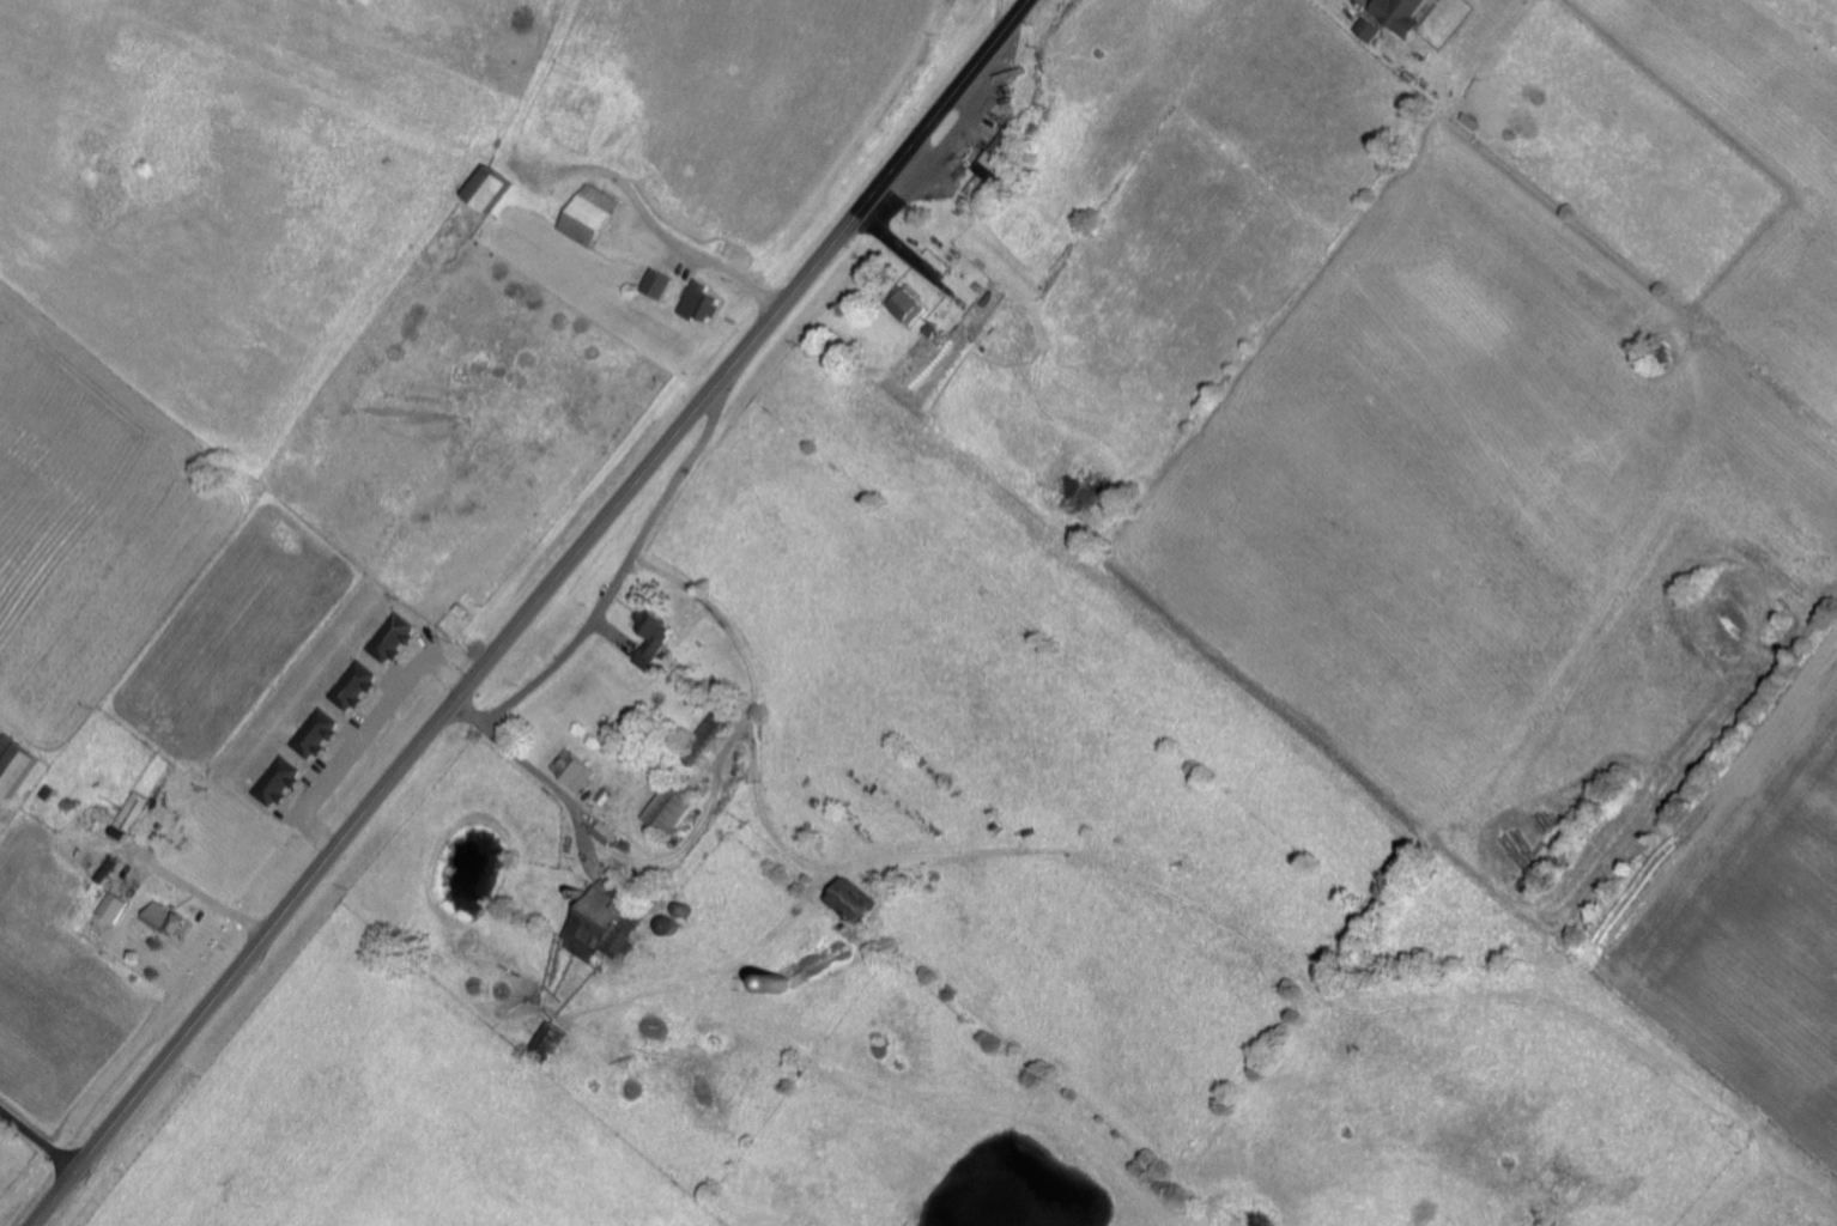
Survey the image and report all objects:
building: (1411, 14)
building: (1377, 28)
building: (1004, 154)
building: (501, 189)
building: (598, 216)
building: (705, 301)
building: (914, 305)
road: (527, 612)
building: (654, 636)
building: (400, 637)
building: (362, 686)
building: (322, 733)
building: (707, 735)
building: (20, 765)
building: (581, 767)
building: (284, 781)
building: (674, 806)
building: (134, 814)
building: (611, 832)
building: (862, 899)
building: (119, 906)
building: (176, 918)
building: (601, 924)
building: (553, 1040)
road: (36, 1141)

